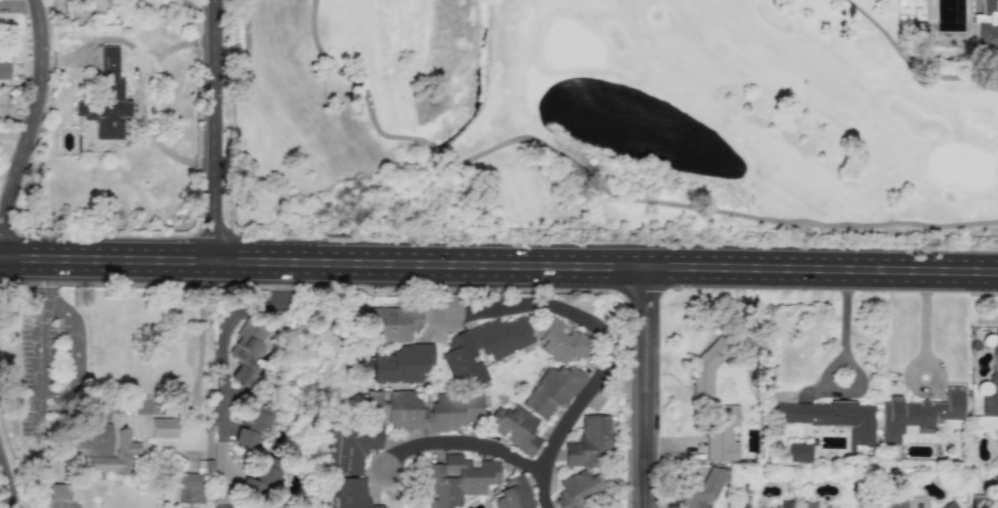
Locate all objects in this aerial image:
building: (99, 6)
building: (987, 23)
road: (910, 64)
building: (4, 70)
road: (359, 86)
building: (106, 99)
park: (619, 119)
road: (32, 121)
road: (215, 131)
road: (590, 204)
road: (709, 209)
road: (498, 265)
road: (42, 282)
road: (843, 322)
building: (392, 323)
road: (200, 331)
building: (559, 340)
building: (482, 348)
road: (608, 349)
building: (245, 351)
building: (401, 363)
road: (223, 367)
building: (704, 370)
building: (991, 387)
road: (646, 388)
building: (552, 390)
road: (59, 396)
building: (422, 410)
building: (918, 413)
building: (830, 417)
building: (250, 425)
building: (162, 427)
building: (514, 428)
road: (459, 431)
building: (720, 433)
building: (588, 441)
building: (101, 447)
building: (348, 447)
building: (798, 452)
building: (260, 475)
building: (457, 480)
building: (995, 483)
road: (7, 487)
building: (188, 487)
building: (576, 489)
building: (700, 489)
building: (56, 492)
building: (352, 493)
building: (514, 494)
building: (739, 500)
building: (894, 501)
building: (995, 502)
building: (784, 503)
building: (806, 504)
building: (948, 505)
building: (276, 506)

